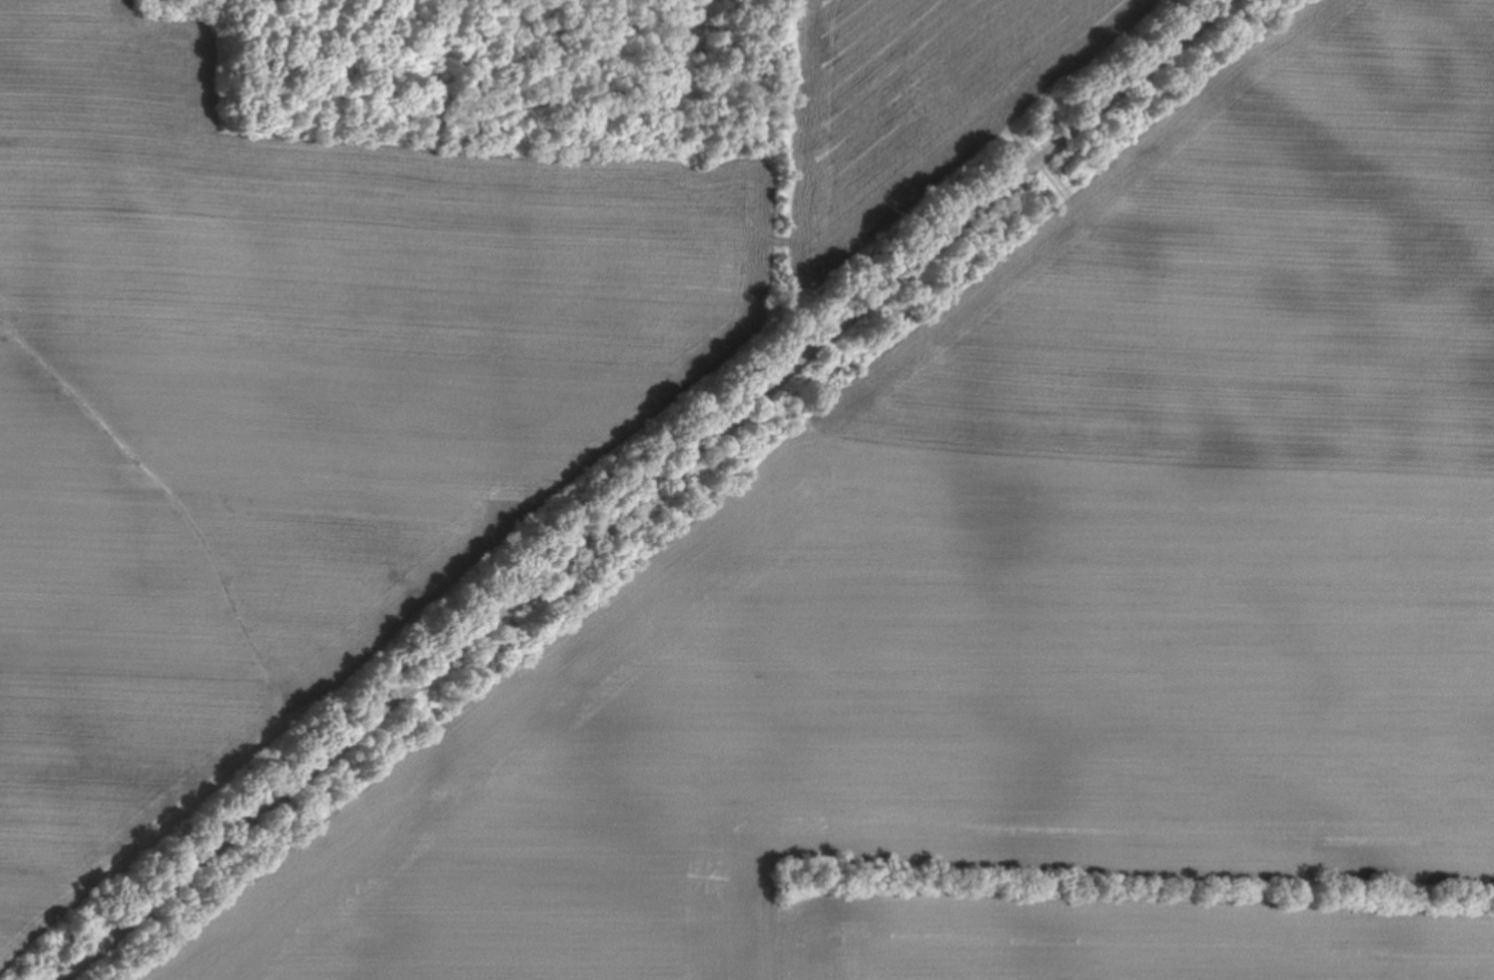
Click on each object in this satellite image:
road: (658, 489)

